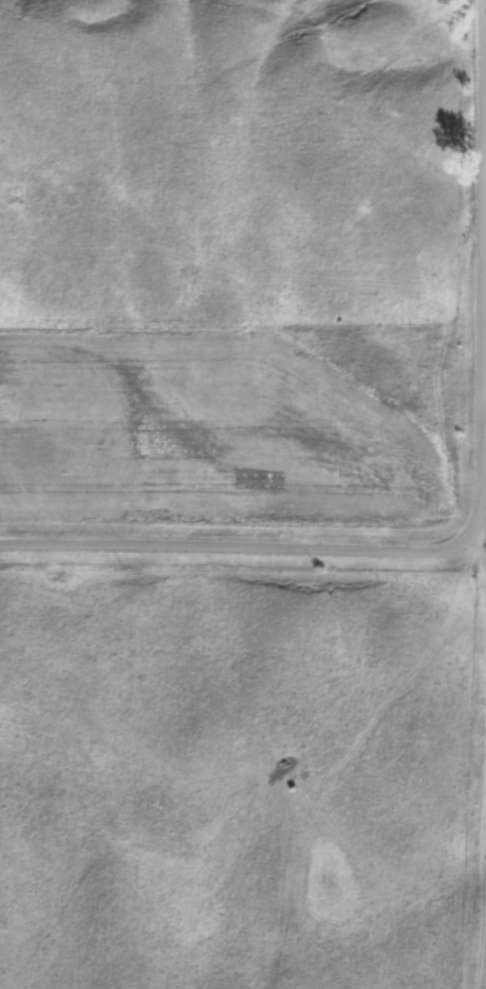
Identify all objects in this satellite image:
road: (475, 514)

